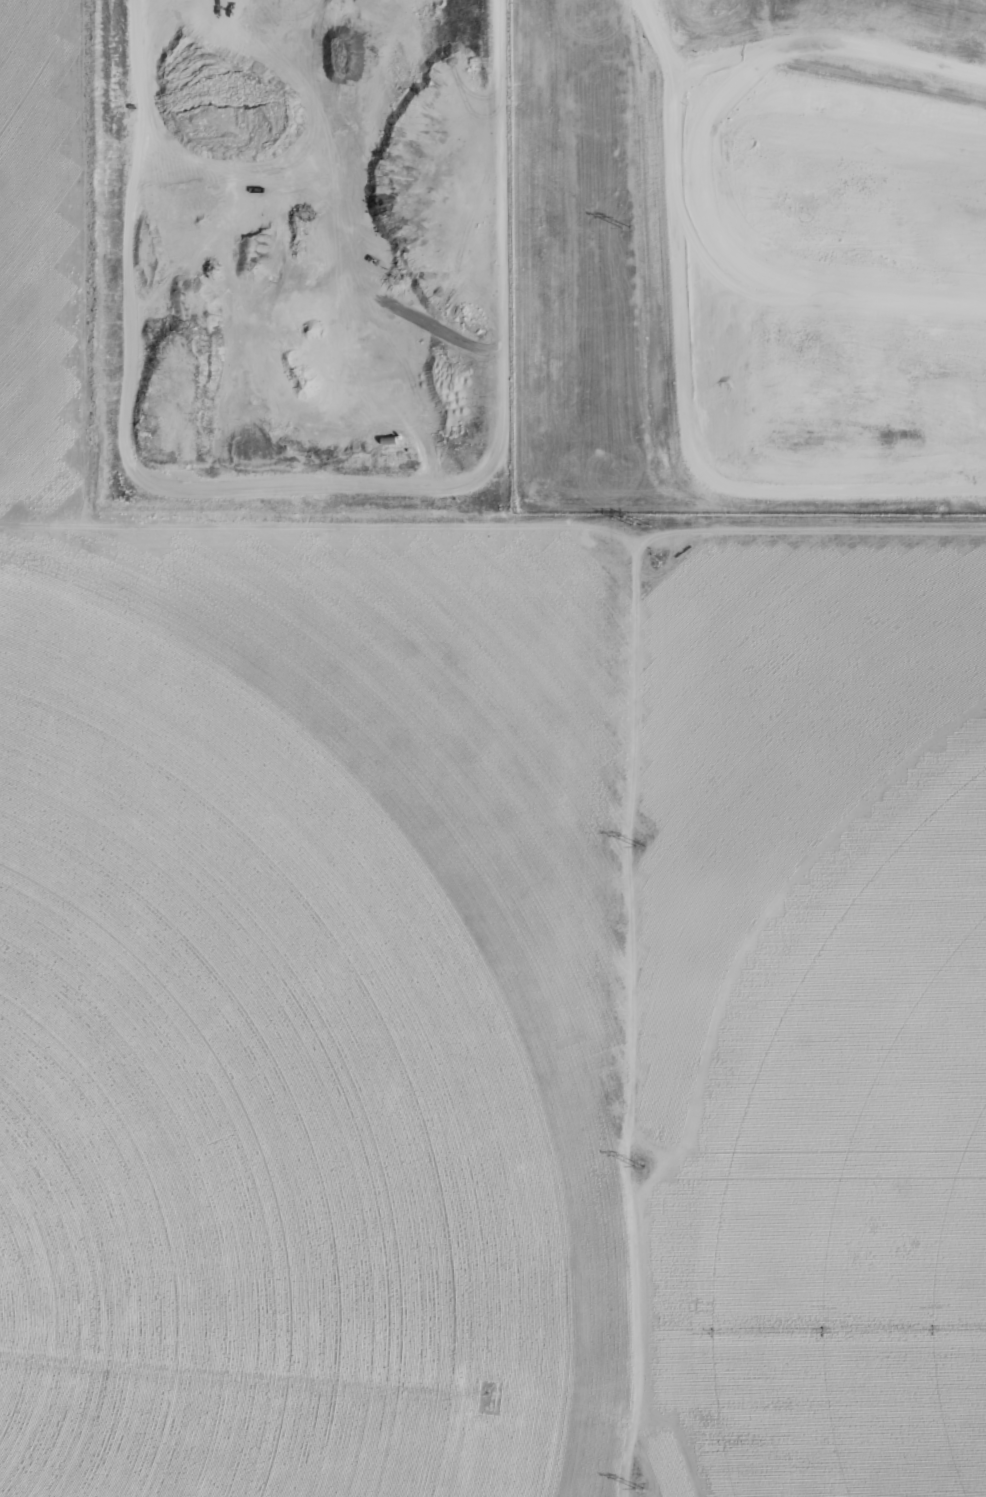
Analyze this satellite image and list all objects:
road: (790, 50)
road: (867, 93)
building: (130, 106)
power tower: (626, 229)
landfill: (752, 253)
road: (747, 269)
road: (685, 415)
building: (398, 436)
building: (388, 439)
road: (308, 486)
power tower: (641, 526)
road: (806, 530)
road: (633, 703)
power tower: (641, 847)
power tower: (639, 1167)
power tower: (639, 1488)

